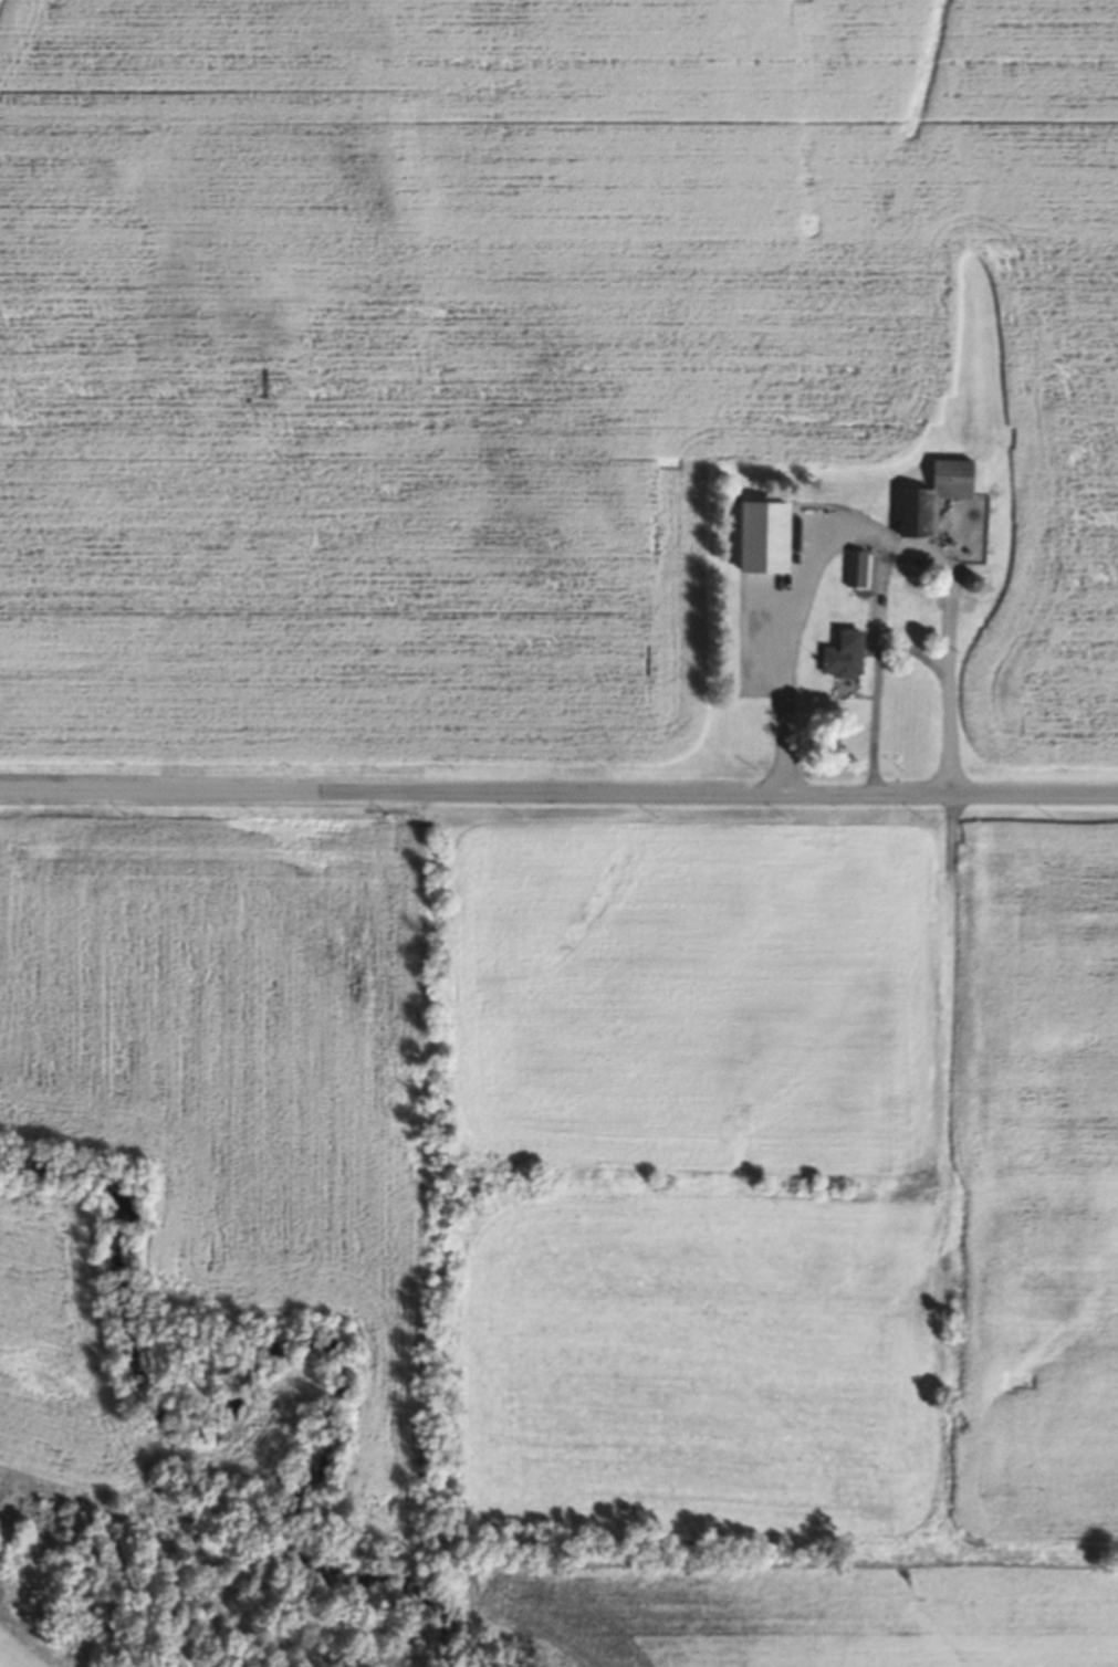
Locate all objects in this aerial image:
building: (865, 494)
building: (938, 496)
building: (754, 515)
building: (846, 532)
road: (929, 558)
building: (858, 568)
building: (978, 584)
road: (900, 643)
building: (846, 654)
road: (558, 791)

